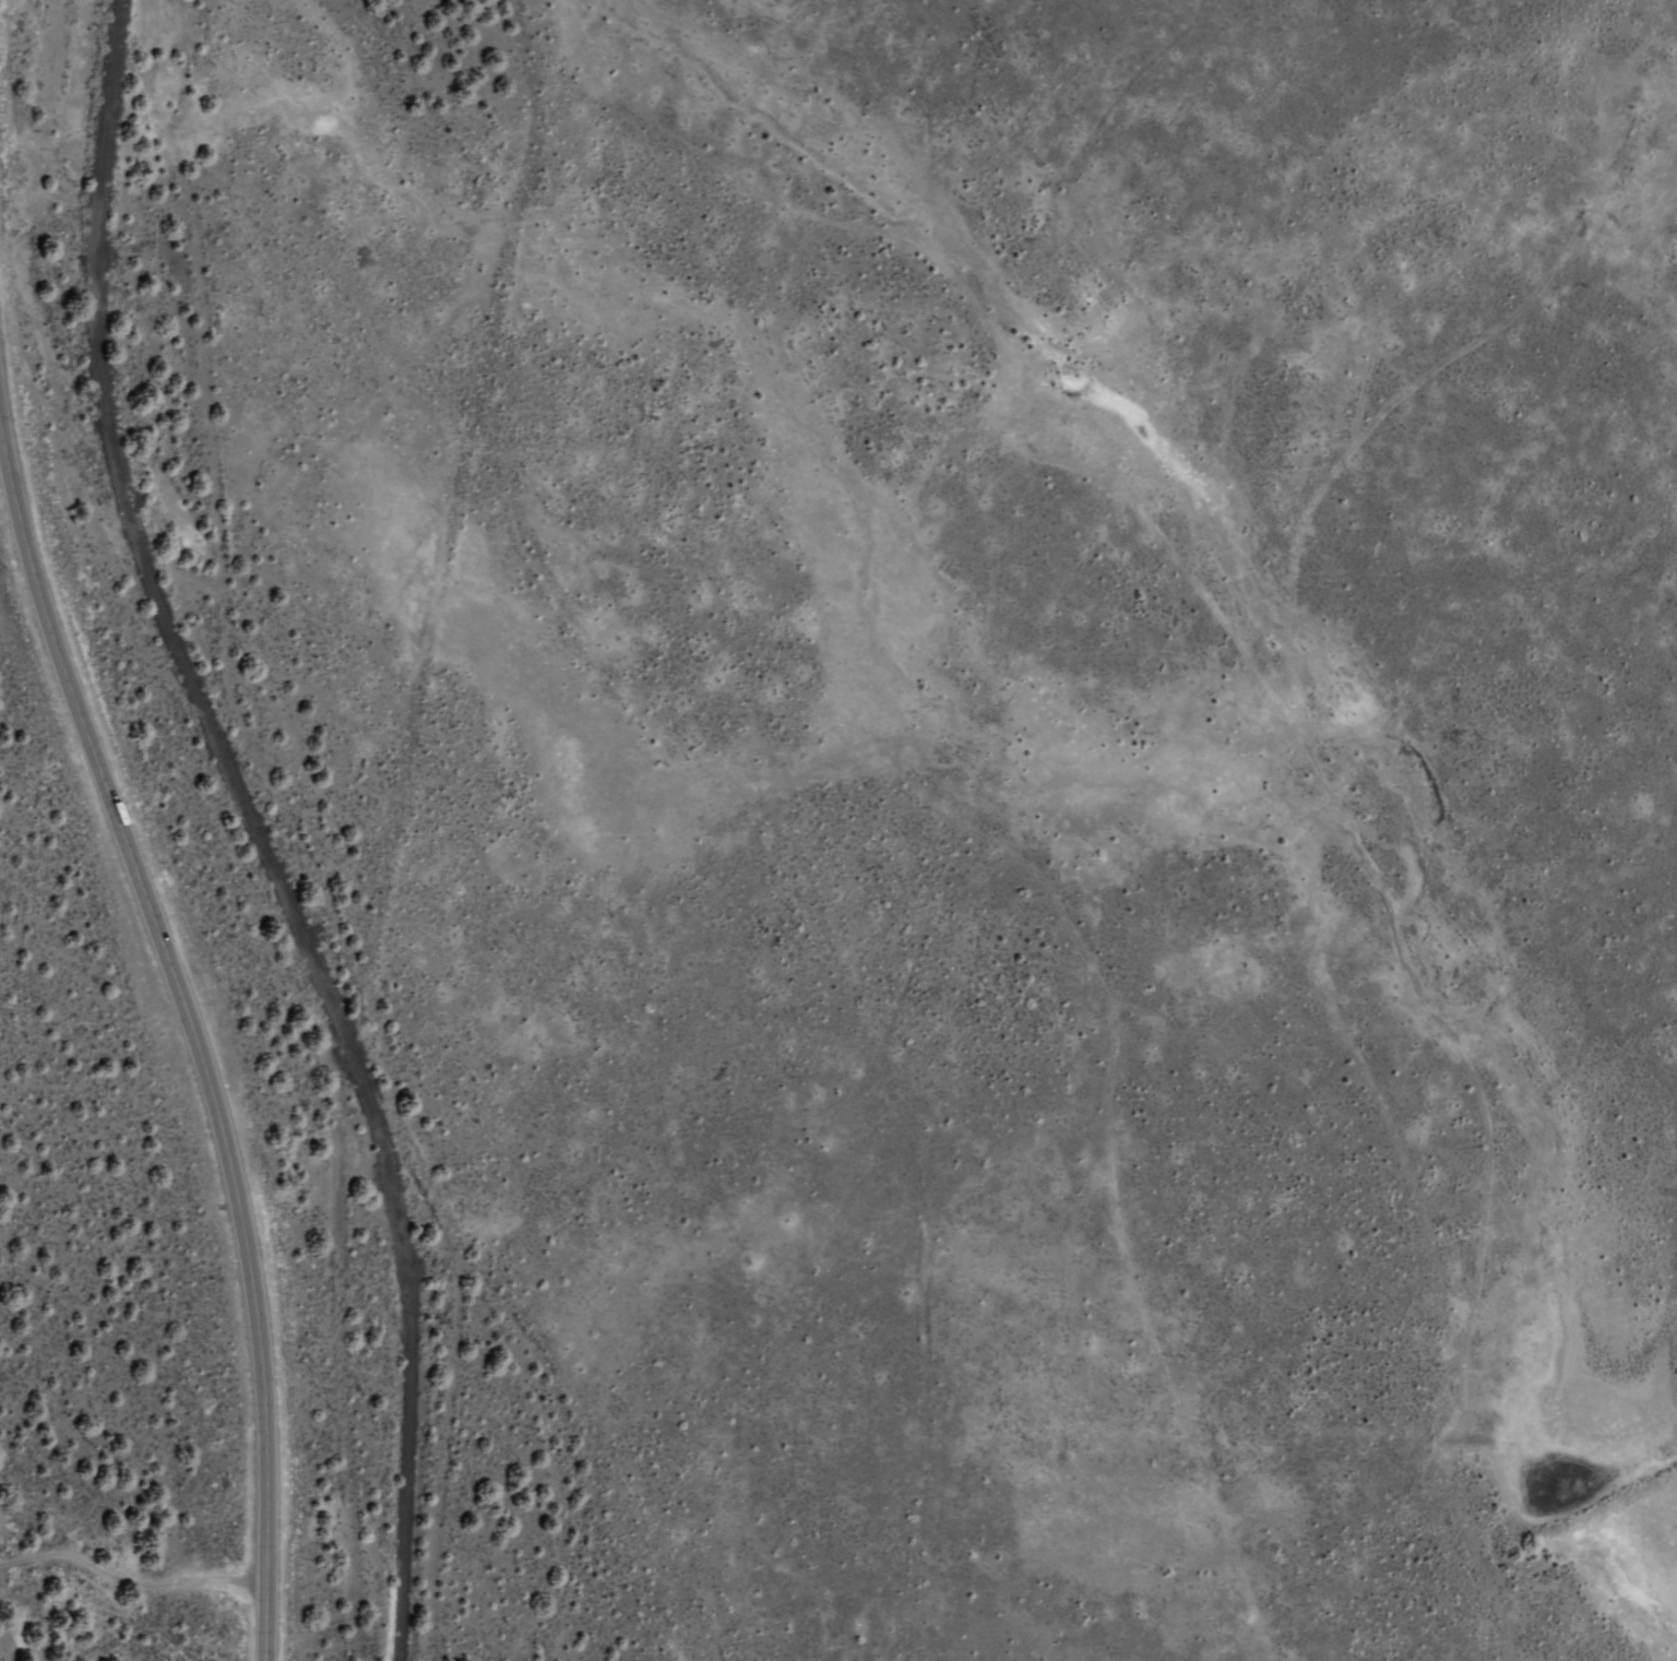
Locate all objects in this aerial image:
road: (191, 1029)

